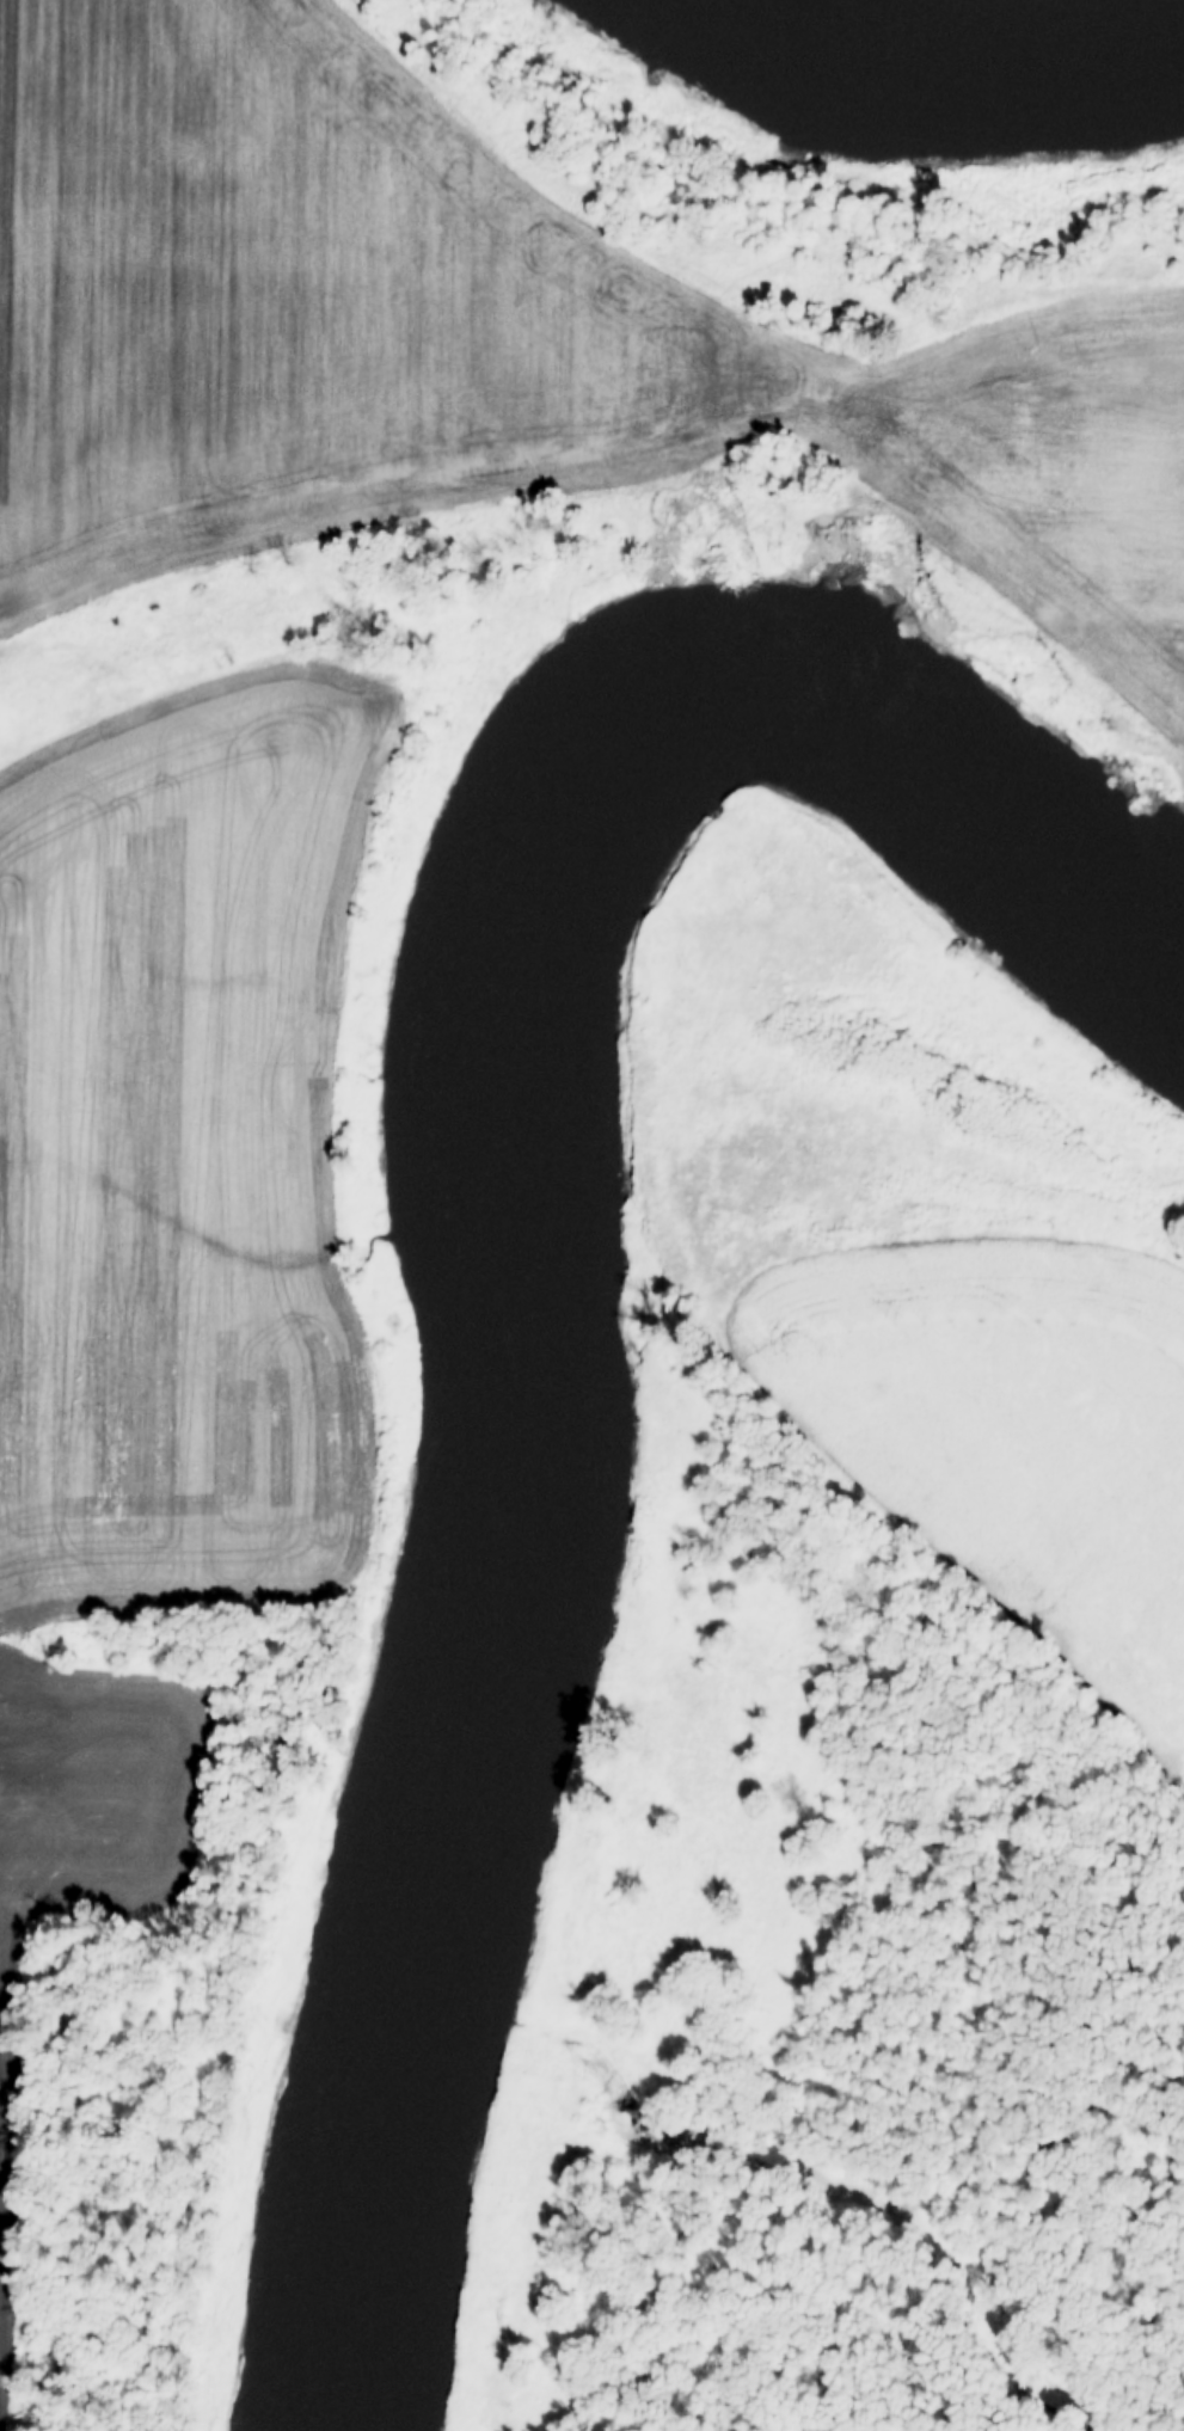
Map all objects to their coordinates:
river: (955, 60)
river: (526, 1242)

